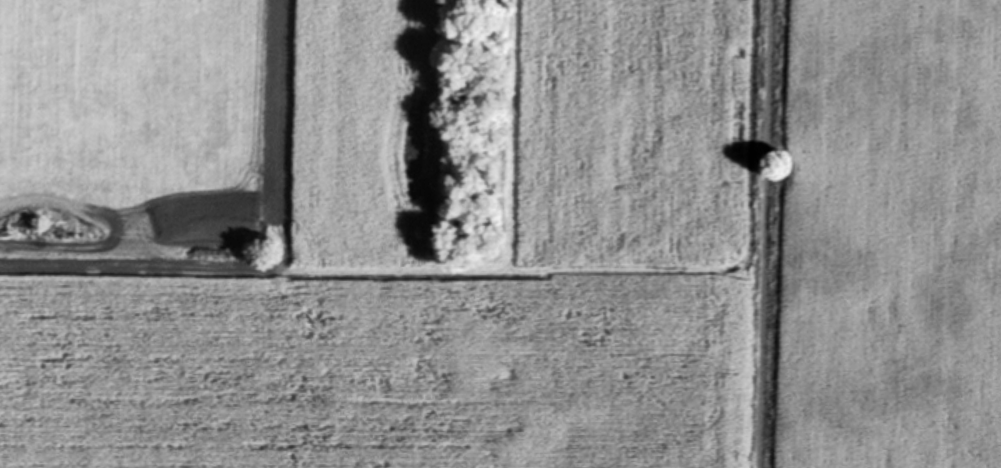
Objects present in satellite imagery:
crop: (372, 233)
road: (764, 234)
crop: (888, 236)

